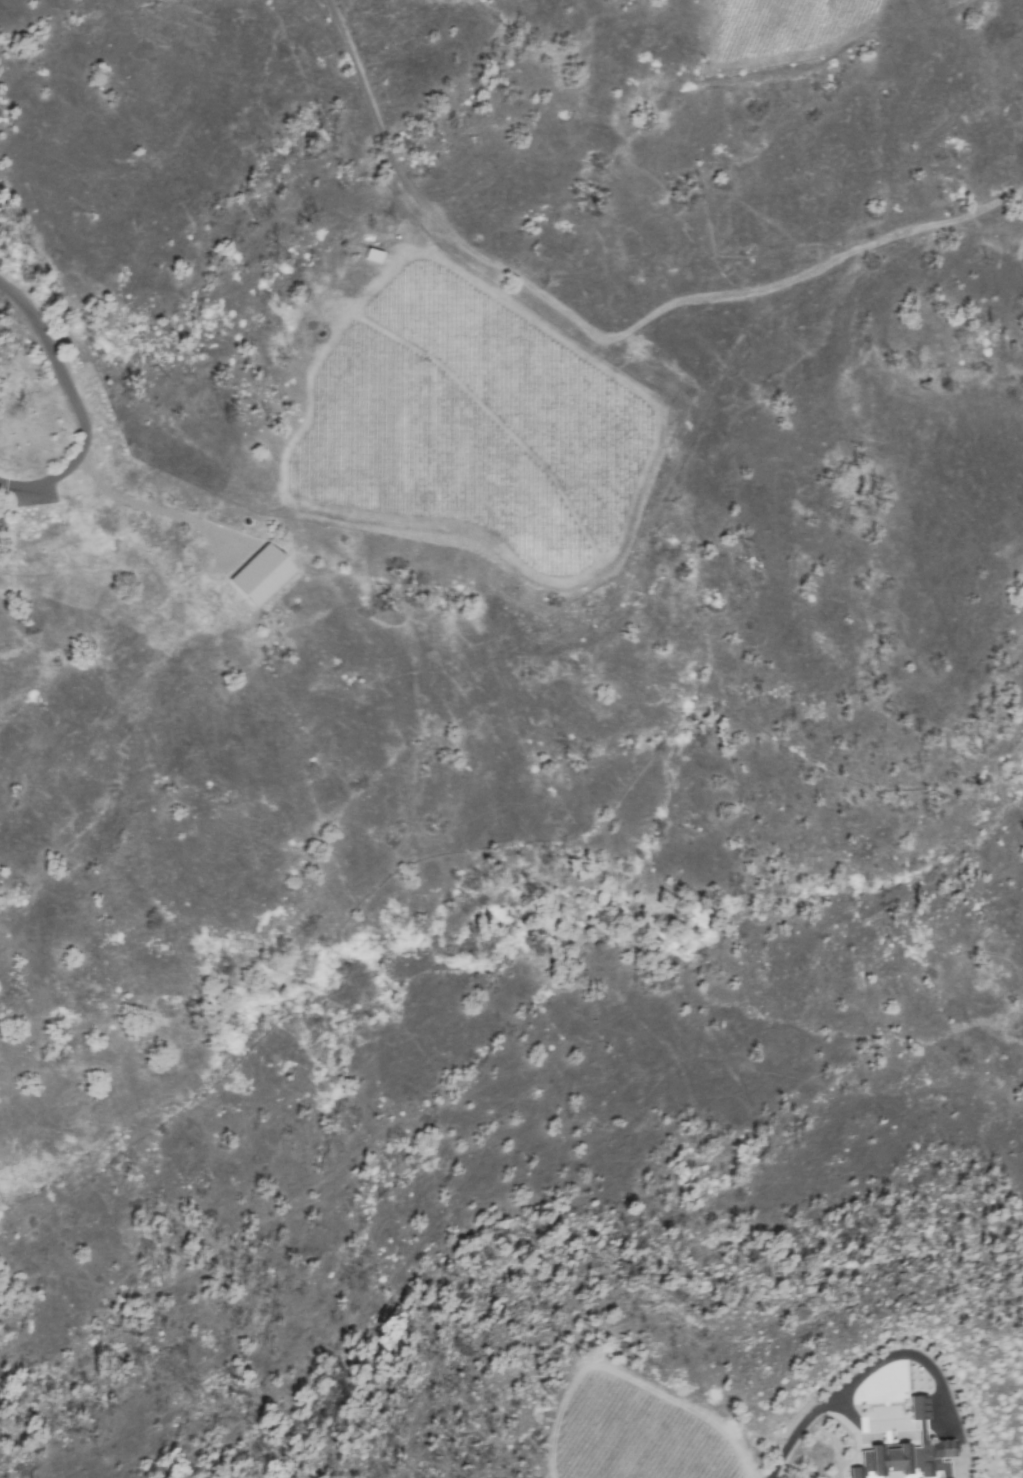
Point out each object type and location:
road: (846, 254)
building: (371, 255)
road: (512, 271)
road: (75, 404)
road: (150, 508)
building: (259, 575)
building: (916, 1407)
road: (813, 1410)
building: (906, 1458)

